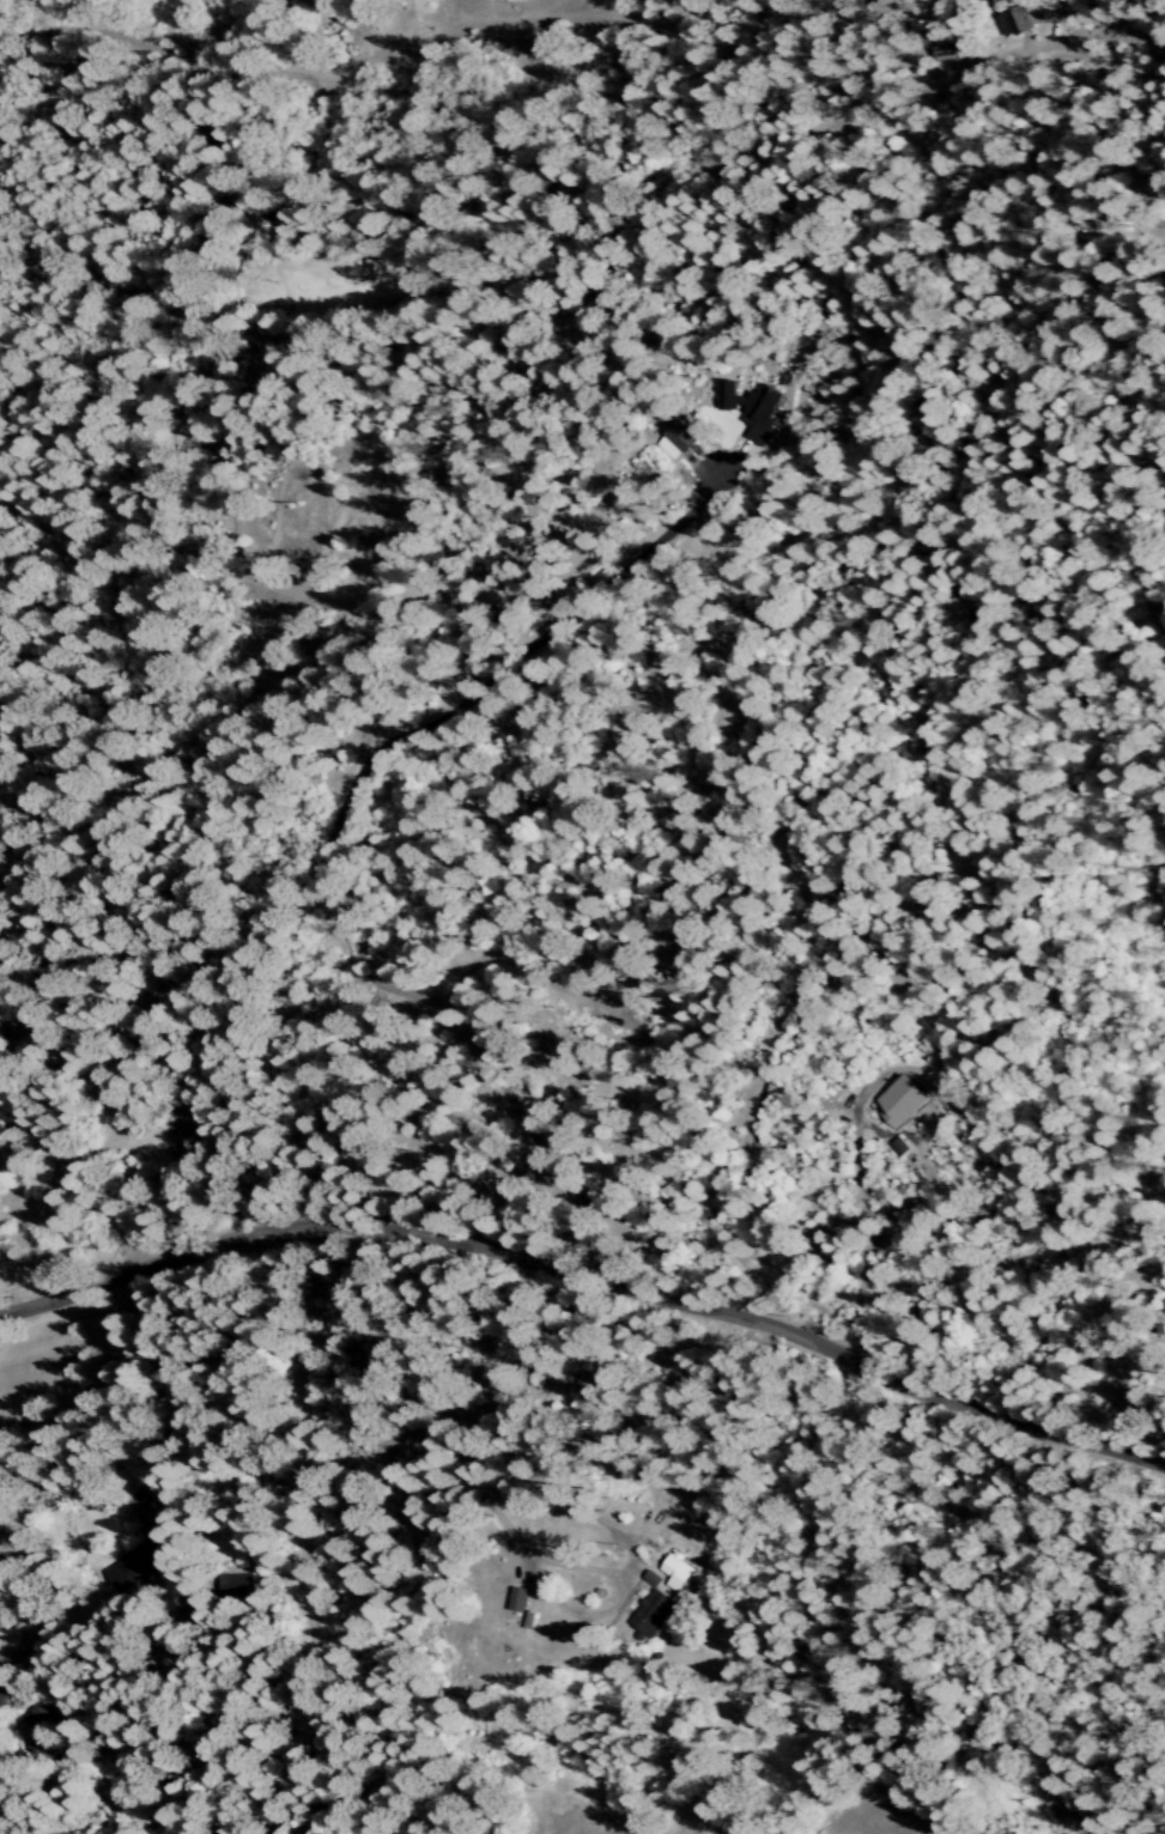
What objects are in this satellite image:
building: (1021, 20)
road: (358, 77)
building: (237, 195)
building: (752, 408)
building: (681, 437)
building: (0, 1087)
building: (903, 1100)
road: (589, 1280)
road: (150, 1393)
road: (429, 1396)
building: (158, 1531)
road: (302, 1534)
building: (129, 1571)
building: (678, 1571)
building: (236, 1586)
building: (518, 1599)
road: (612, 1608)
building: (653, 1613)
road: (41, 1621)
building: (2, 1695)
building: (41, 1731)

